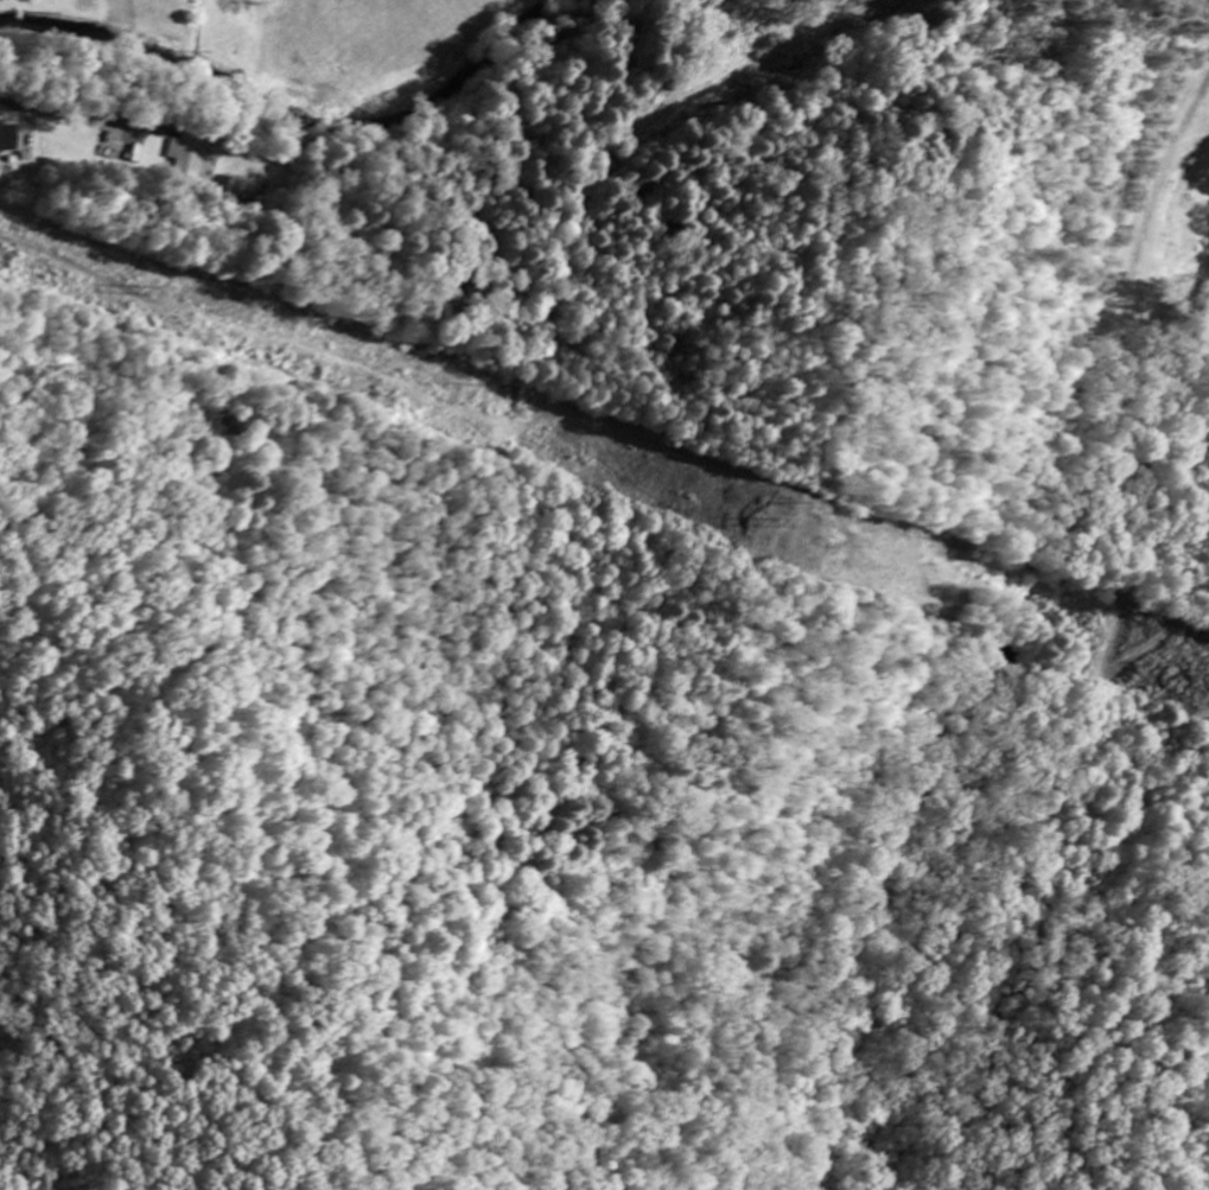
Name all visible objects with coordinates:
road: (5, 107)
building: (6, 140)
building: (187, 161)
road: (1125, 592)

